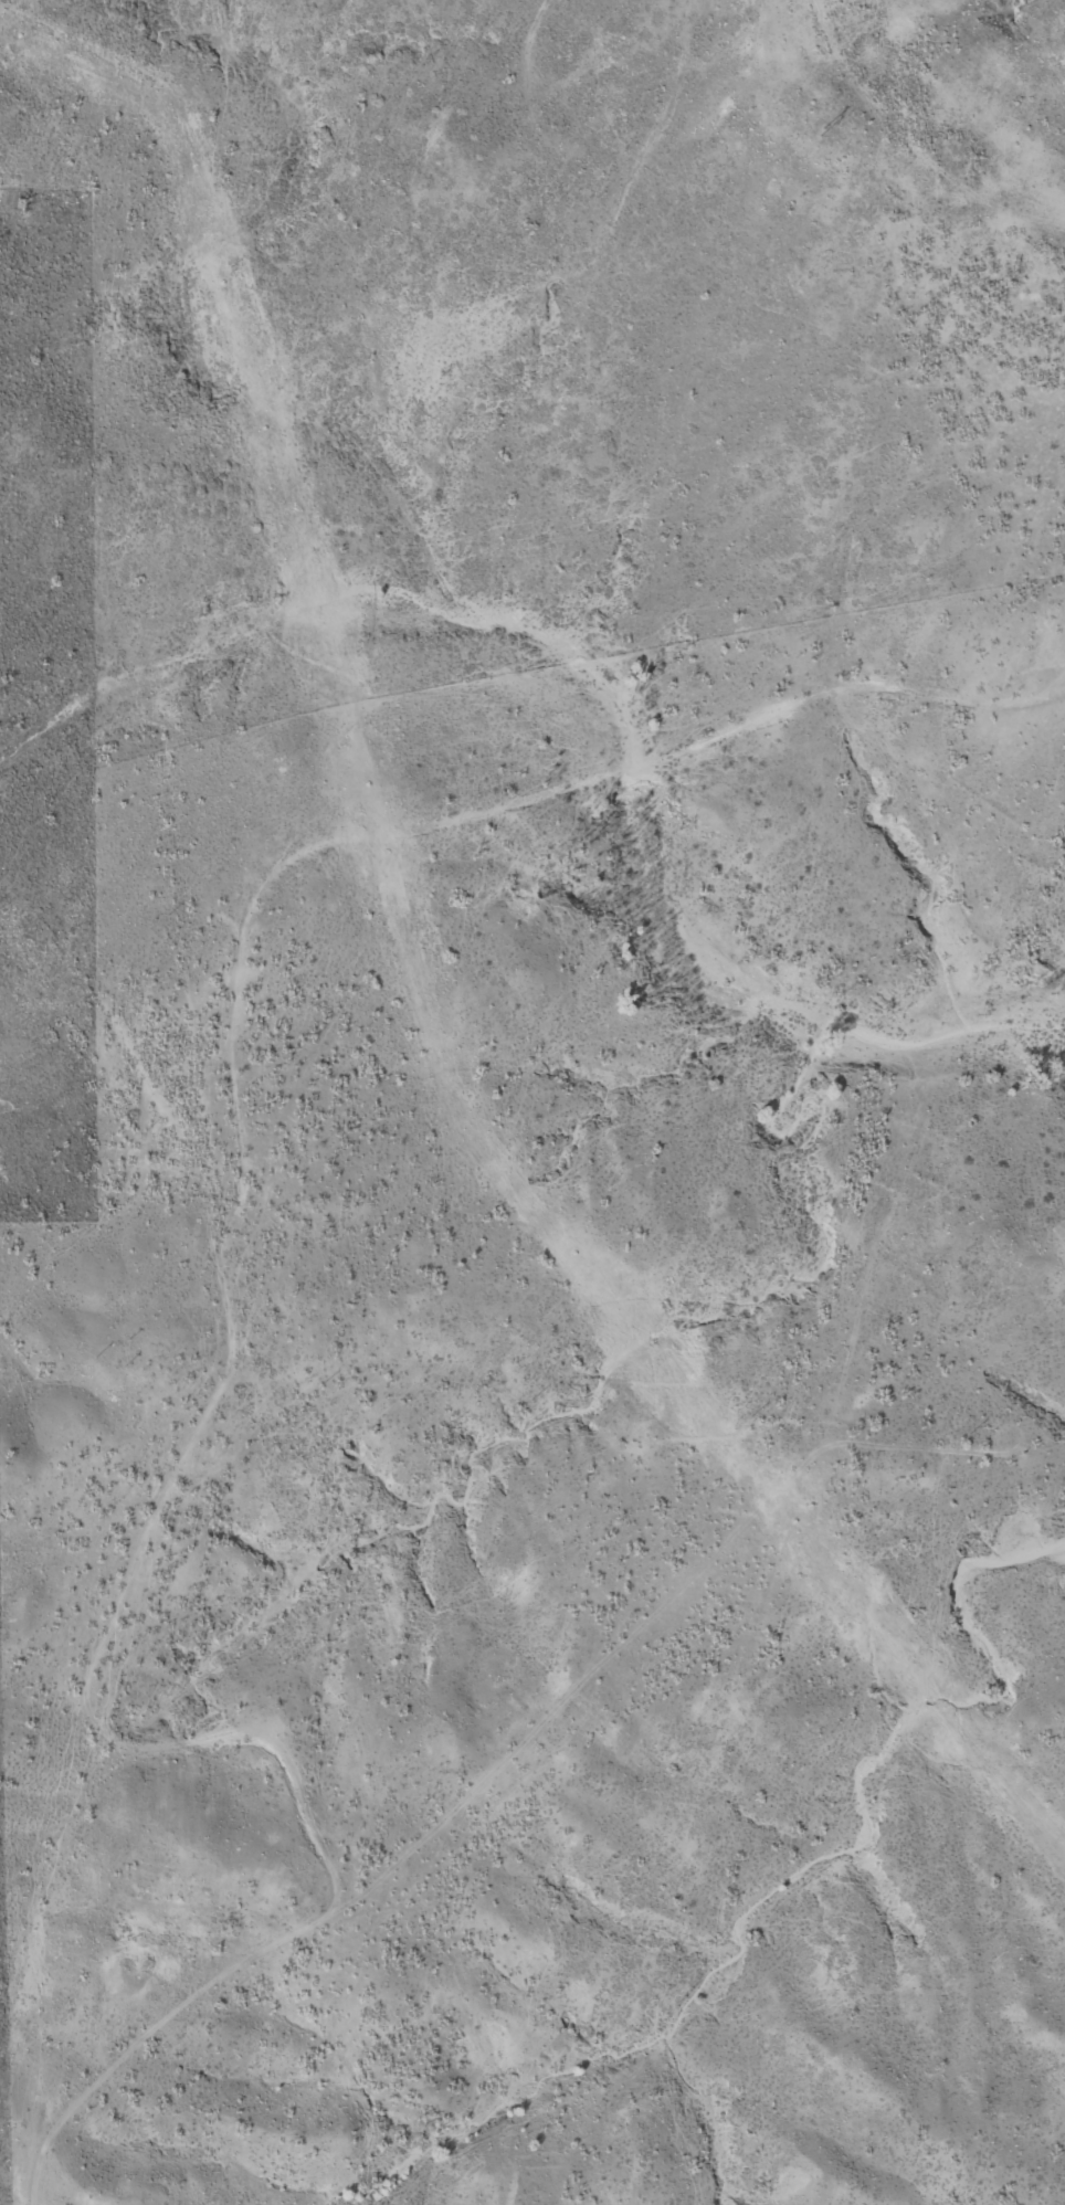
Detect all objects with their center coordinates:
power tower: (822, 130)

